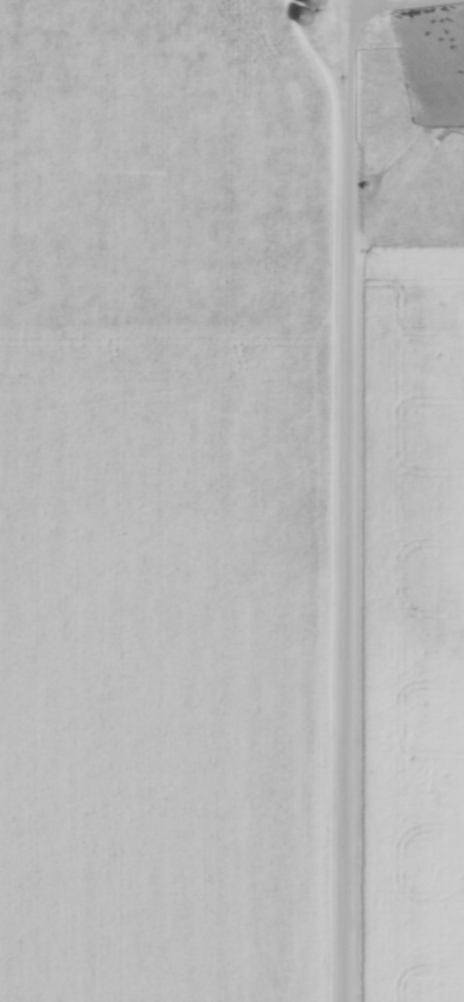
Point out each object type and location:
road: (347, 499)

